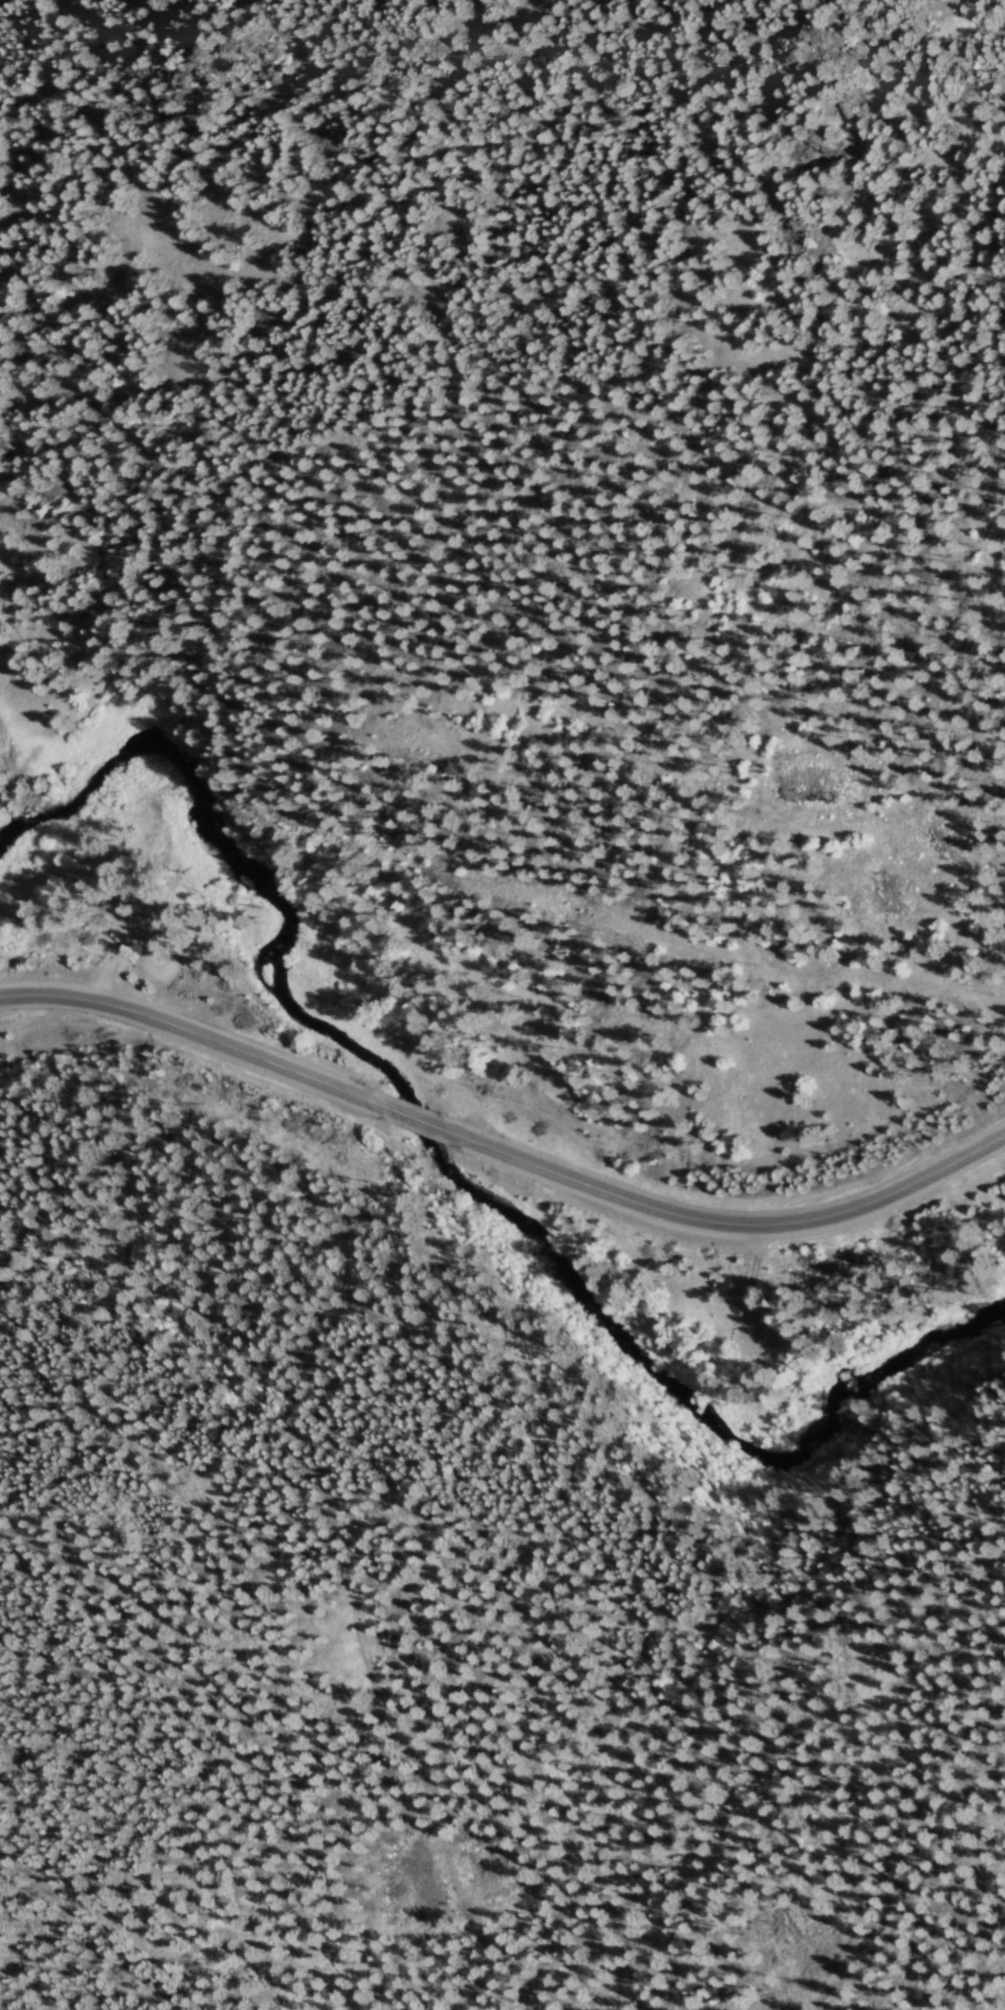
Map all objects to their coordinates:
road: (191, 1039)
road: (408, 1122)
road: (724, 1227)

